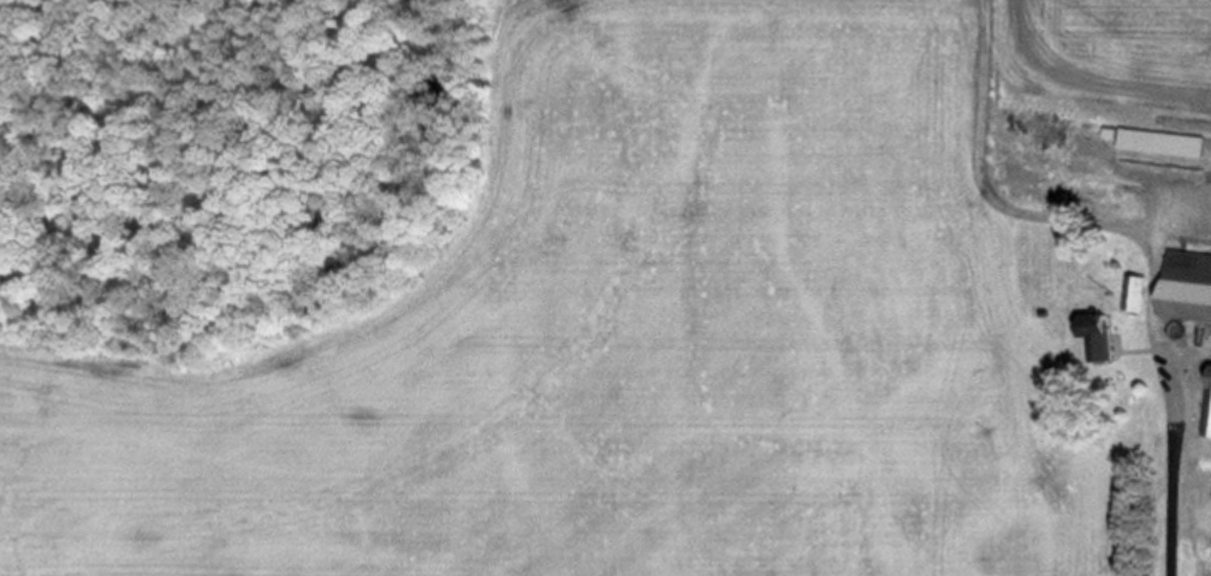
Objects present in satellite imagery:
building: (1154, 143)
building: (1173, 161)
road: (1130, 232)
building: (1182, 286)
building: (1130, 295)
building: (1091, 337)
building: (1205, 405)

